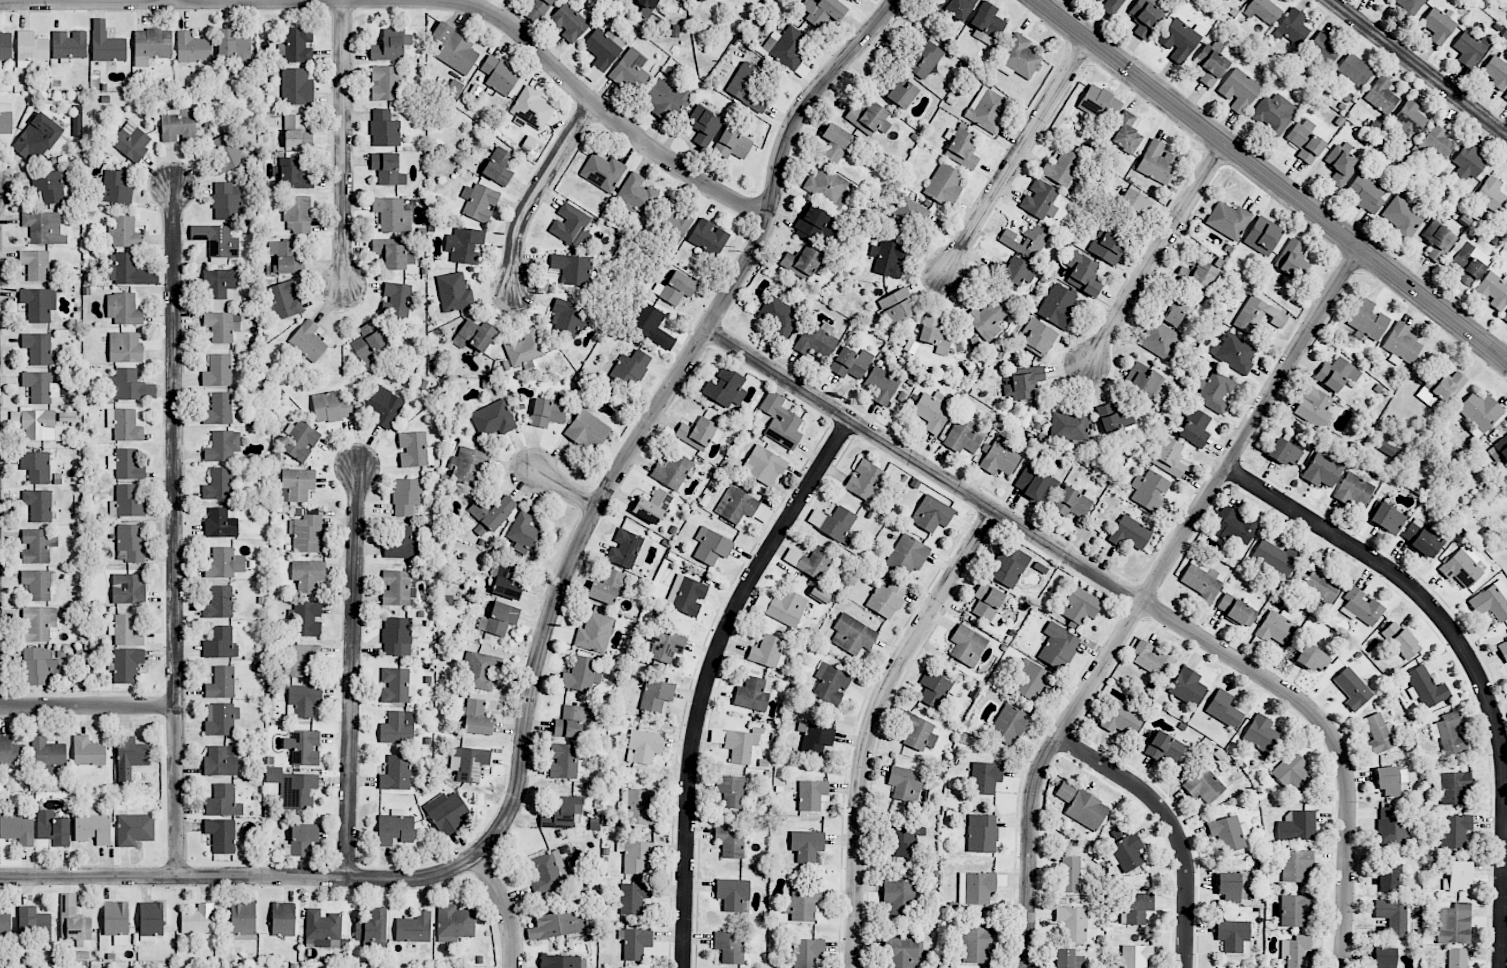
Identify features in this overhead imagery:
road: (86, 0)
building: (849, 0)
building: (1231, 0)
building: (1243, 0)
building: (699, 1)
building: (542, 3)
building: (1110, 5)
building: (1408, 5)
building: (646, 7)
building: (957, 7)
building: (1264, 10)
building: (824, 11)
street lamp: (327, 14)
building: (1144, 17)
building: (569, 22)
building: (987, 24)
building: (1438, 26)
building: (1292, 27)
building: (1180, 40)
building: (69, 44)
building: (106, 44)
building: (298, 45)
building: (391, 45)
building: (5, 46)
building: (151, 46)
building: (233, 47)
building: (786, 47)
building: (193, 48)
building: (604, 48)
building: (1324, 48)
building: (31, 49)
building: (454, 49)
building: (1469, 49)
building: (1019, 58)
building: (925, 60)
building: (1211, 63)
street lamp: (1091, 65)
road: (1419, 68)
building: (1497, 70)
building: (631, 71)
building: (1354, 71)
building: (499, 75)
street lamp: (847, 76)
building: (385, 82)
building: (747, 86)
building: (296, 87)
building: (454, 88)
building: (1239, 91)
building: (902, 93)
building: (1382, 96)
building: (1505, 96)
building: (665, 99)
building: (1100, 103)
street lamp: (572, 104)
building: (531, 109)
building: (988, 110)
road: (606, 112)
building: (1273, 113)
building: (6, 118)
building: (869, 118)
building: (1409, 120)
building: (704, 125)
building: (178, 126)
building: (76, 127)
building: (384, 129)
building: (297, 132)
building: (1126, 133)
building: (37, 137)
building: (1305, 140)
building: (1437, 141)
building: (131, 142)
road: (342, 142)
building: (835, 143)
building: (732, 145)
building: (962, 149)
street lamp: (1201, 149)
building: (225, 152)
road: (1017, 155)
street lamp: (163, 158)
building: (1158, 162)
building: (1468, 163)
building: (1340, 166)
building: (498, 167)
building: (1062, 168)
building: (387, 169)
building: (602, 172)
building: (293, 173)
road: (1272, 180)
building: (51, 185)
building: (944, 185)
building: (827, 187)
building: (116, 188)
road: (535, 190)
street lamp: (756, 192)
building: (1365, 192)
building: (637, 193)
building: (1491, 195)
building: (1040, 200)
building: (227, 201)
building: (479, 202)
building: (1136, 204)
building: (297, 214)
building: (392, 215)
building: (1404, 216)
building: (1228, 220)
building: (812, 225)
building: (571, 226)
building: (43, 228)
building: (125, 233)
building: (1263, 236)
building: (709, 237)
building: (1027, 241)
building: (1438, 241)
building: (216, 242)
building: (464, 245)
building: (1107, 247)
road: (1156, 252)
building: (393, 255)
building: (282, 257)
building: (888, 258)
building: (1293, 261)
building: (1466, 261)
building: (801, 263)
building: (35, 265)
building: (572, 269)
building: (129, 271)
building: (1017, 271)
building: (1082, 274)
street lamp: (1361, 274)
building: (1202, 276)
building: (222, 284)
building: (675, 288)
building: (1493, 291)
building: (454, 293)
building: (286, 299)
building: (396, 300)
building: (38, 304)
building: (1058, 305)
building: (897, 306)
building: (123, 309)
street lamp: (530, 311)
street lamp: (343, 312)
building: (1171, 315)
building: (778, 316)
building: (1258, 316)
building: (1505, 318)
building: (567, 319)
building: (986, 319)
building: (1367, 320)
building: (651, 325)
building: (222, 326)
building: (936, 334)
building: (474, 335)
building: (1037, 337)
building: (1159, 340)
building: (308, 341)
building: (816, 341)
building: (368, 343)
building: (1402, 343)
building: (125, 347)
street lamp: (711, 348)
building: (39, 349)
building: (524, 349)
building: (1234, 352)
building: (851, 363)
building: (631, 368)
building: (1336, 374)
street lamp: (1109, 380)
building: (1144, 380)
building: (1022, 383)
building: (881, 385)
building: (129, 386)
building: (40, 387)
building: (1442, 387)
building: (725, 388)
building: (1214, 391)
building: (384, 406)
building: (1313, 406)
building: (331, 407)
building: (219, 409)
building: (548, 411)
building: (932, 412)
building: (1480, 412)
road: (654, 413)
building: (1108, 418)
building: (492, 419)
building: (781, 422)
building: (39, 425)
building: (124, 425)
building: (1069, 426)
building: (1194, 426)
building: (588, 431)
building: (699, 433)
building: (965, 435)
street lamp: (358, 438)
building: (301, 442)
building: (223, 446)
building: (414, 450)
building: (1499, 450)
building: (1286, 451)
building: (1169, 457)
building: (999, 459)
building: (467, 464)
building: (127, 465)
road: (924, 465)
building: (763, 466)
building: (36, 467)
building: (1325, 468)
building: (672, 471)
building: (864, 480)
building: (298, 483)
building: (1035, 483)
building: (218, 484)
street lamp: (591, 486)
road: (563, 488)
building: (1149, 490)
building: (1354, 490)
building: (406, 496)
building: (127, 502)
building: (1072, 502)
building: (38, 505)
building: (736, 505)
building: (652, 506)
building: (490, 514)
building: (932, 514)
building: (1388, 519)
building: (221, 523)
building: (833, 523)
building: (1234, 526)
road: (174, 530)
building: (1129, 533)
building: (308, 534)
building: (525, 534)
building: (1421, 538)
building: (131, 543)
building: (400, 544)
building: (38, 545)
building: (711, 546)
building: (627, 549)
building: (907, 555)
building: (1276, 558)
building: (810, 561)
building: (224, 564)
building: (1009, 566)
building: (1462, 567)
building: (308, 574)
building: (506, 580)
building: (1201, 580)
building: (37, 584)
building: (1321, 584)
building: (606, 587)
building: (397, 588)
road: (1414, 588)
building: (128, 589)
road: (1149, 594)
building: (686, 595)
building: (886, 599)
building: (1491, 601)
building: (219, 603)
building: (987, 603)
building: (1079, 606)
building: (782, 607)
building: (1361, 607)
building: (1237, 610)
building: (307, 619)
building: (499, 619)
building: (39, 623)
building: (1277, 628)
building: (126, 630)
building: (594, 633)
building: (852, 635)
building: (397, 636)
building: (1400, 640)
building: (220, 643)
building: (966, 643)
building: (664, 644)
building: (1058, 646)
building: (1503, 650)
building: (768, 652)
building: (1312, 658)
building: (1152, 660)
building: (302, 661)
building: (126, 665)
building: (41, 666)
building: (482, 671)
road: (351, 672)
building: (580, 675)
road: (710, 676)
building: (1032, 680)
building: (221, 683)
building: (831, 683)
building: (395, 685)
building: (1187, 687)
building: (1425, 687)
building: (936, 689)
building: (1352, 689)
street lamp: (160, 692)
building: (753, 694)
building: (656, 695)
building: (305, 699)
road: (87, 705)
building: (1224, 709)
building: (221, 718)
building: (477, 718)
building: (1122, 719)
building: (572, 722)
road: (874, 723)
building: (1008, 725)
building: (397, 728)
building: (1379, 733)
building: (1260, 734)
road: (1332, 736)
building: (816, 740)
building: (741, 744)
building: (644, 746)
building: (1164, 747)
building: (88, 752)
building: (12, 753)
building: (47, 753)
building: (130, 758)
building: (220, 761)
building: (565, 761)
building: (471, 763)
building: (1292, 772)
building: (396, 773)
building: (986, 778)
building: (1391, 780)
building: (905, 785)
building: (1203, 785)
building: (1452, 787)
building: (293, 788)
building: (1065, 791)
building: (733, 792)
building: (811, 794)
building: (223, 802)
building: (641, 806)
building: (1086, 810)
building: (561, 811)
building: (446, 813)
road: (1174, 824)
building: (93, 827)
building: (1297, 827)
building: (1391, 827)
building: (53, 828)
building: (395, 828)
building: (18, 829)
building: (134, 829)
building: (1455, 831)
building: (982, 833)
building: (1227, 833)
building: (221, 835)
building: (303, 839)
building: (730, 841)
building: (906, 841)
building: (807, 845)
building: (1125, 850)
building: (636, 856)
street lamp: (492, 857)
street lamp: (190, 861)
street lamp: (331, 864)
building: (1296, 865)
building: (548, 872)
building: (1388, 874)
road: (239, 875)
building: (1071, 875)
building: (1457, 876)
building: (1232, 887)
building: (732, 893)
building: (633, 898)
building: (898, 898)
building: (806, 901)
road: (1504, 901)
road: (505, 908)
building: (1137, 908)
building: (1294, 911)
building: (1392, 916)
building: (283, 919)
building: (73, 920)
building: (198, 920)
building: (5, 921)
building: (151, 921)
building: (243, 921)
building: (116, 922)
building: (454, 922)
building: (1073, 923)
building: (35, 924)
building: (1454, 924)
building: (557, 925)
building: (372, 926)
building: (323, 928)
building: (414, 928)
building: (1234, 936)
building: (635, 942)
building: (373, 945)
building: (977, 945)
building: (730, 947)
building: (1297, 951)
building: (806, 952)
building: (905, 953)
building: (1135, 956)
building: (1384, 957)
building: (1458, 958)
building: (1068, 959)
building: (562, 961)

